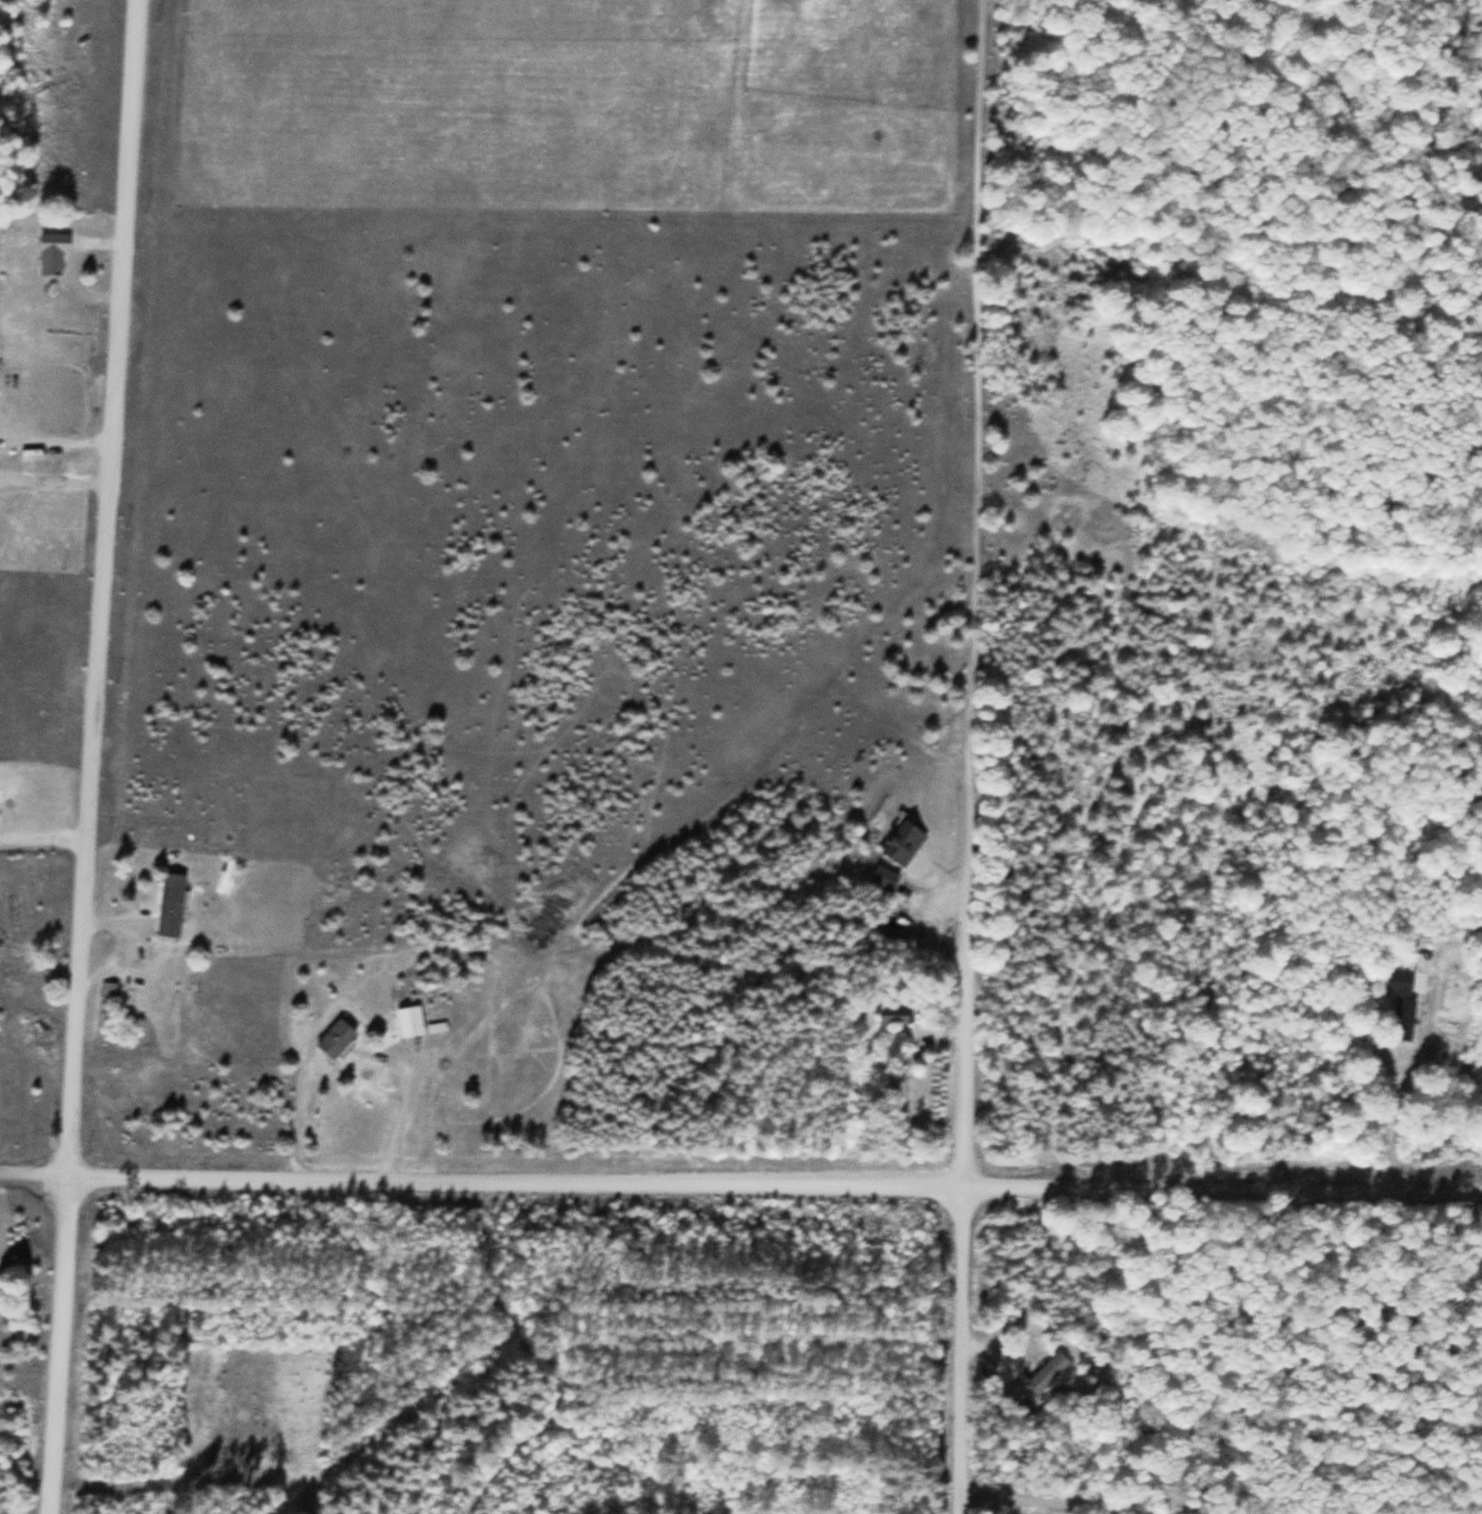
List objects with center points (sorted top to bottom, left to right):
building: (52, 253)
road: (974, 387)
road: (92, 756)
building: (903, 843)
building: (171, 905)
building: (897, 924)
building: (108, 997)
building: (1404, 1000)
building: (940, 1012)
building: (894, 1015)
building: (410, 1020)
building: (42, 1031)
building: (336, 1038)
road: (961, 1144)
road: (740, 1185)
building: (1046, 1373)

